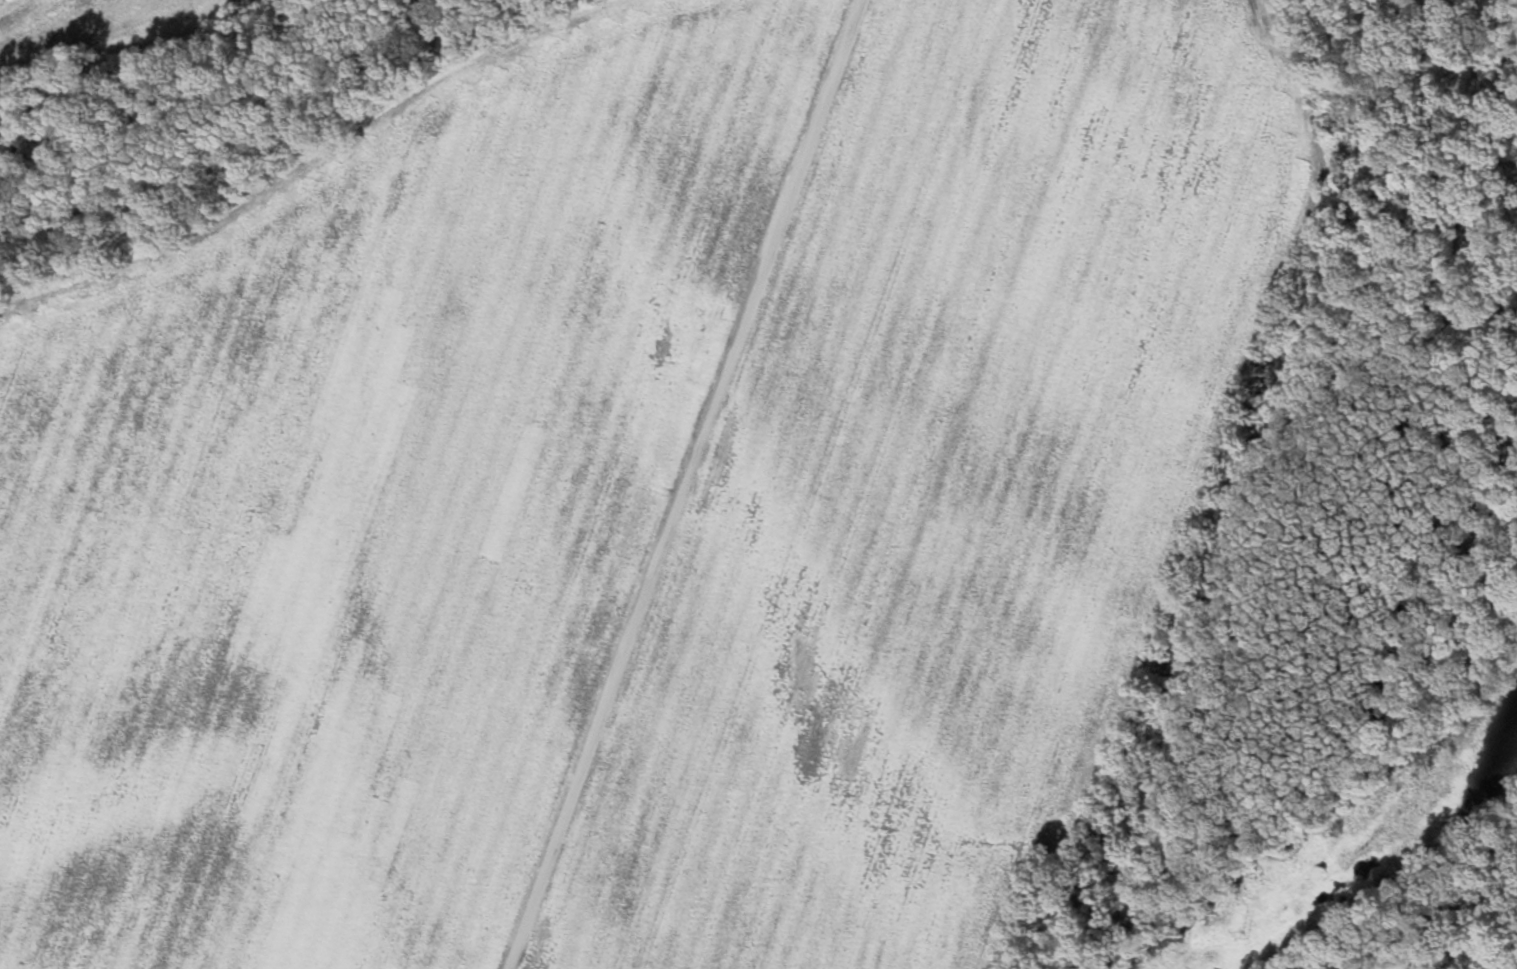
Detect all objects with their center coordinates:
road: (681, 483)

